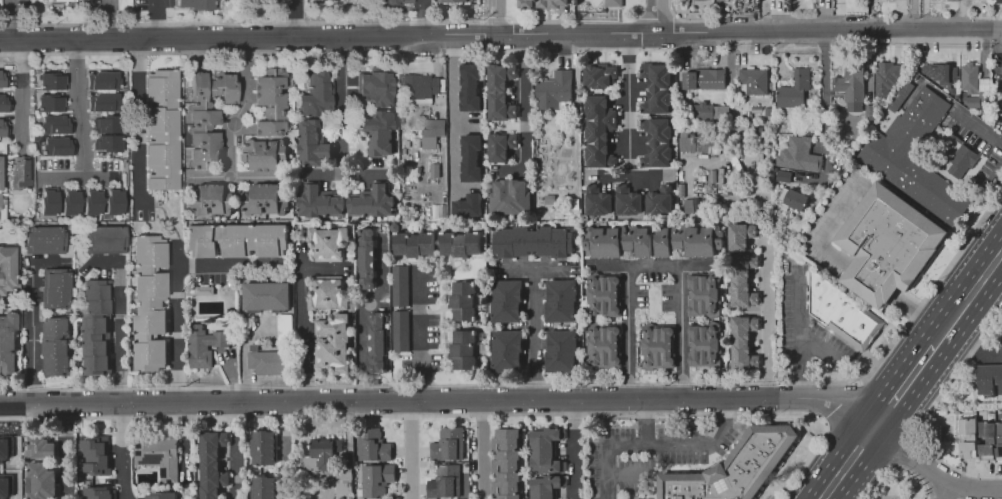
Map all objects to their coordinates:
building: (449, 0)
building: (61, 1)
building: (997, 1)
building: (390, 2)
building: (613, 2)
building: (197, 3)
building: (543, 3)
road: (41, 4)
building: (0, 5)
building: (125, 5)
road: (89, 11)
parking lot: (110, 11)
parking lot: (15, 12)
road: (31, 12)
road: (660, 16)
road: (764, 16)
road: (422, 17)
road: (494, 17)
road: (838, 17)
road: (913, 17)
road: (13, 18)
road: (295, 18)
road: (108, 19)
road: (158, 19)
road: (291, 23)
road: (485, 34)
road: (501, 34)
road: (726, 41)
parking lot: (996, 42)
road: (314, 51)
road: (435, 53)
road: (984, 53)
road: (780, 54)
road: (731, 55)
road: (701, 64)
building: (940, 72)
building: (599, 74)
building: (887, 76)
building: (3, 77)
building: (103, 78)
building: (704, 78)
building: (55, 80)
building: (754, 80)
building: (851, 84)
building: (422, 86)
building: (470, 86)
building: (656, 86)
building: (374, 87)
building: (974, 87)
building: (794, 88)
road: (825, 90)
road: (22, 91)
building: (316, 92)
building: (500, 92)
building: (555, 92)
building: (900, 96)
building: (269, 100)
building: (104, 101)
building: (5, 102)
building: (53, 102)
road: (524, 103)
road: (628, 104)
road: (339, 105)
road: (76, 107)
building: (701, 110)
building: (869, 112)
building: (207, 113)
road: (574, 116)
building: (108, 122)
building: (55, 123)
road: (141, 123)
road: (233, 125)
building: (4, 126)
road: (453, 126)
building: (161, 128)
road: (977, 129)
building: (432, 130)
building: (598, 130)
building: (379, 132)
building: (657, 141)
building: (108, 142)
building: (312, 143)
building: (57, 146)
building: (501, 146)
parking lot: (977, 146)
building: (891, 148)
building: (264, 151)
building: (798, 153)
building: (470, 158)
building: (962, 161)
building: (0, 171)
building: (20, 171)
road: (509, 173)
road: (256, 175)
road: (345, 175)
road: (79, 177)
road: (627, 177)
road: (991, 179)
building: (509, 194)
building: (211, 198)
building: (792, 198)
building: (70, 199)
building: (92, 199)
building: (113, 199)
building: (264, 199)
building: (550, 199)
building: (659, 199)
building: (0, 200)
building: (48, 200)
building: (598, 200)
building: (372, 201)
building: (627, 201)
building: (318, 202)
building: (468, 206)
road: (165, 213)
building: (561, 214)
building: (740, 234)
building: (106, 238)
building: (237, 238)
building: (44, 239)
building: (617, 239)
building: (684, 239)
parking lot: (818, 239)
building: (533, 240)
road: (179, 241)
building: (460, 242)
building: (328, 243)
building: (413, 244)
building: (887, 244)
road: (178, 254)
building: (368, 256)
road: (612, 265)
road: (653, 265)
road: (695, 265)
road: (849, 265)
building: (7, 266)
road: (324, 267)
road: (537, 267)
flagpole: (934, 268)
flagpole: (927, 278)
building: (743, 279)
building: (399, 285)
road: (178, 286)
building: (56, 287)
building: (329, 291)
building: (267, 294)
building: (703, 294)
building: (604, 295)
building: (463, 299)
building: (561, 299)
building: (507, 300)
building: (149, 302)
road: (766, 312)
building: (842, 312)
road: (363, 315)
road: (303, 322)
road: (799, 322)
building: (97, 326)
parking lot: (806, 328)
building: (283, 329)
building: (399, 330)
road: (988, 330)
road: (120, 334)
road: (533, 334)
road: (417, 335)
road: (32, 337)
building: (377, 341)
building: (743, 341)
building: (7, 342)
building: (333, 342)
building: (703, 344)
building: (56, 345)
building: (203, 345)
building: (604, 345)
building: (657, 345)
road: (818, 347)
road: (972, 347)
building: (463, 349)
building: (507, 350)
building: (561, 350)
road: (245, 353)
building: (269, 360)
road: (912, 375)
road: (232, 377)
building: (989, 379)
road: (548, 383)
road: (801, 383)
road: (840, 401)
road: (514, 402)
building: (991, 417)
road: (822, 421)
road: (646, 423)
road: (348, 428)
road: (916, 433)
building: (968, 437)
building: (986, 437)
building: (999, 440)
road: (185, 441)
building: (373, 444)
building: (450, 444)
building: (40, 445)
building: (263, 446)
road: (659, 447)
building: (546, 449)
road: (410, 450)
road: (482, 450)
road: (573, 450)
road: (237, 451)
road: (286, 451)
road: (905, 451)
road: (64, 453)
road: (122, 453)
building: (329, 453)
building: (95, 454)
building: (158, 455)
building: (507, 462)
building: (5, 463)
building: (212, 464)
building: (735, 468)
road: (897, 468)
road: (625, 473)
building: (376, 478)
building: (40, 479)
building: (444, 480)
building: (546, 485)
building: (263, 486)
road: (947, 490)
building: (101, 492)
building: (163, 494)
road: (936, 494)

